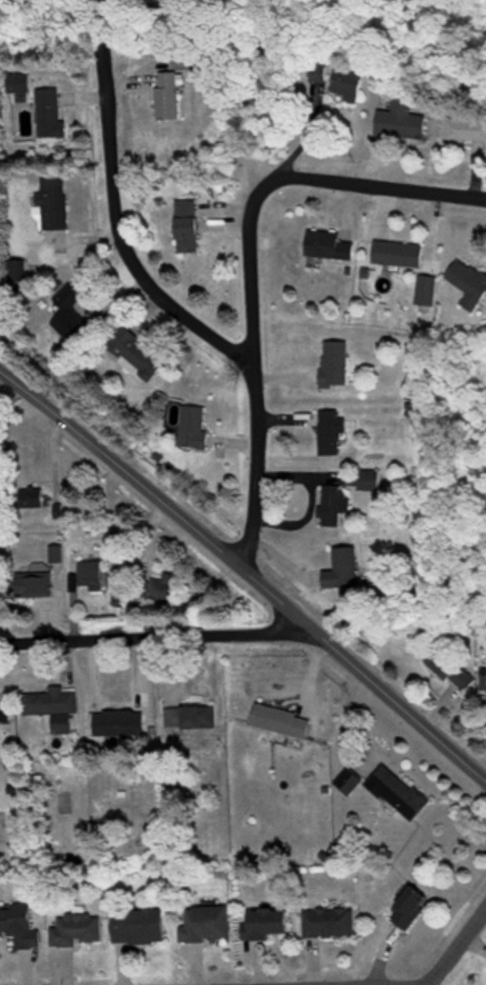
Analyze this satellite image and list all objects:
building: (191, 64)
building: (323, 74)
building: (353, 84)
building: (17, 85)
building: (170, 99)
building: (52, 117)
building: (405, 122)
building: (467, 131)
building: (53, 206)
building: (189, 228)
building: (330, 248)
road: (121, 252)
building: (399, 256)
road: (244, 259)
building: (19, 272)
building: (470, 286)
building: (428, 292)
building: (70, 314)
building: (136, 356)
building: (335, 365)
building: (194, 429)
building: (331, 435)
building: (370, 482)
building: (33, 500)
building: (335, 507)
road: (248, 572)
building: (345, 572)
building: (89, 584)
building: (39, 586)
building: (162, 591)
road: (157, 636)
building: (457, 675)
building: (484, 688)
building: (52, 705)
building: (5, 714)
building: (188, 715)
building: (283, 724)
building: (120, 726)
building: (350, 785)
building: (399, 795)
building: (411, 910)
building: (267, 926)
building: (331, 926)
building: (208, 928)
building: (21, 929)
building: (141, 929)
building: (79, 933)
road: (455, 945)

